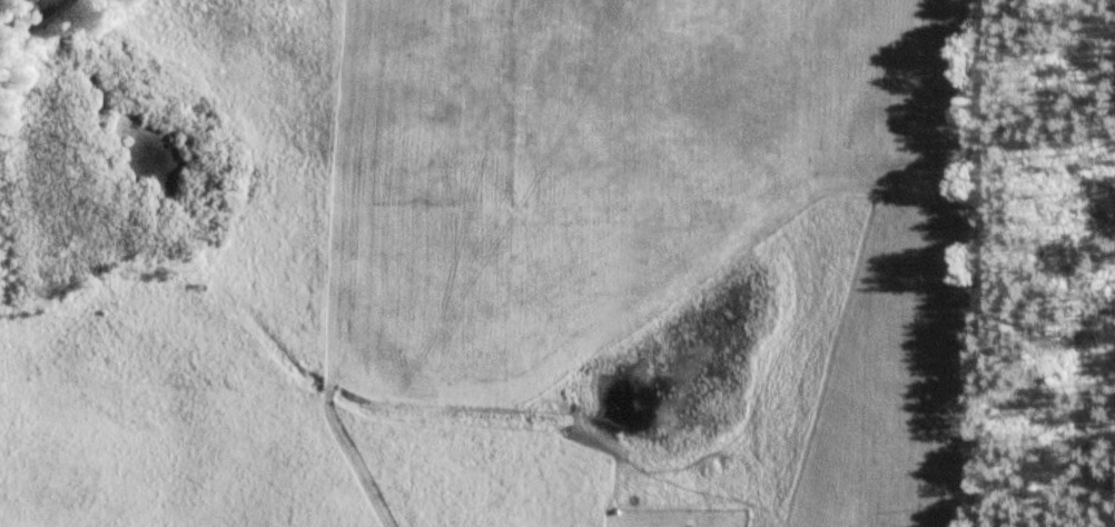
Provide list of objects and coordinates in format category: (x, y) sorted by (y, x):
road: (26, 21)

